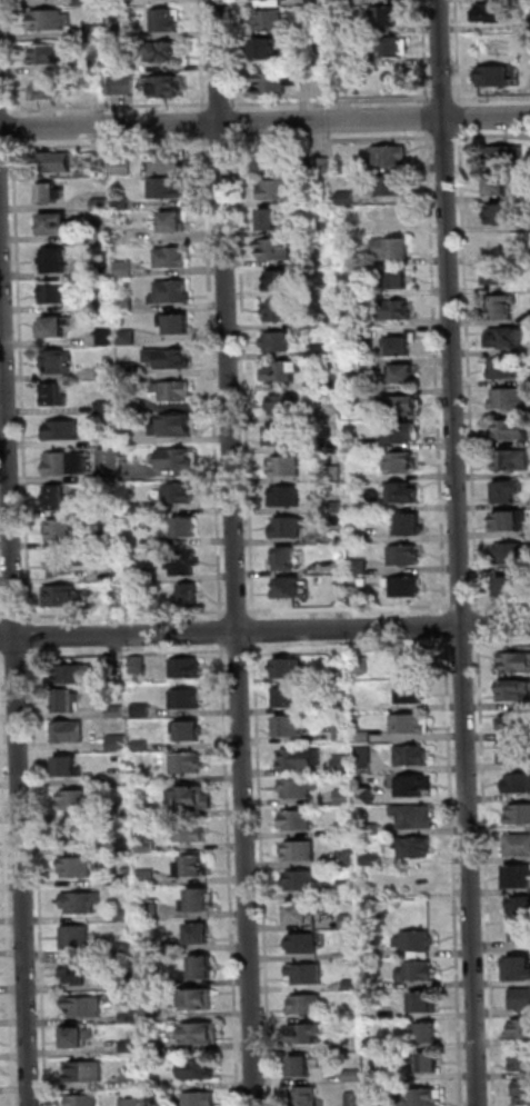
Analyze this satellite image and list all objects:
building: (319, 2)
building: (271, 3)
building: (494, 16)
building: (389, 18)
building: (49, 19)
building: (162, 19)
building: (272, 20)
building: (320, 28)
building: (349, 28)
building: (389, 47)
building: (159, 50)
building: (268, 50)
building: (47, 52)
road: (427, 52)
road: (460, 52)
road: (236, 54)
building: (348, 60)
building: (318, 61)
building: (497, 78)
building: (278, 82)
building: (120, 83)
building: (159, 83)
building: (48, 88)
road: (493, 97)
road: (446, 98)
road: (333, 100)
road: (227, 103)
road: (462, 117)
road: (428, 118)
road: (238, 122)
road: (264, 122)
road: (207, 130)
road: (14, 134)
road: (493, 137)
road: (447, 138)
road: (334, 140)
road: (222, 141)
road: (110, 143)
road: (4, 148)
building: (389, 156)
building: (506, 156)
building: (57, 163)
building: (169, 163)
building: (270, 163)
building: (321, 166)
building: (123, 167)
building: (394, 186)
building: (164, 188)
building: (499, 189)
building: (279, 191)
building: (50, 192)
building: (348, 198)
building: (324, 201)
building: (122, 205)
building: (102, 206)
building: (504, 213)
building: (391, 217)
building: (271, 222)
building: (174, 223)
building: (57, 227)
building: (324, 229)
building: (101, 238)
building: (393, 248)
building: (276, 252)
building: (173, 258)
building: (56, 262)
building: (126, 269)
building: (107, 275)
building: (499, 277)
building: (400, 280)
building: (283, 282)
building: (327, 290)
building: (352, 290)
building: (174, 292)
building: (58, 293)
building: (127, 303)
building: (504, 308)
building: (393, 310)
building: (282, 312)
building: (353, 318)
building: (318, 320)
building: (177, 325)
building: (56, 328)
building: (129, 337)
building: (107, 338)
building: (508, 340)
building: (278, 342)
building: (398, 347)
building: (319, 351)
building: (169, 358)
building: (59, 362)
building: (506, 369)
building: (130, 370)
road: (438, 371)
building: (108, 372)
building: (284, 373)
road: (247, 376)
building: (406, 376)
road: (214, 378)
building: (333, 381)
road: (23, 382)
building: (352, 382)
road: (471, 383)
building: (173, 391)
building: (56, 396)
building: (511, 399)
building: (286, 405)
building: (108, 407)
building: (132, 407)
building: (400, 407)
building: (173, 427)
building: (514, 430)
building: (64, 431)
building: (401, 432)
building: (280, 436)
building: (322, 445)
building: (361, 445)
building: (176, 459)
building: (514, 459)
building: (110, 460)
building: (126, 460)
building: (402, 462)
building: (67, 465)
building: (287, 467)
building: (336, 475)
building: (111, 480)
building: (509, 492)
building: (404, 494)
building: (180, 495)
building: (286, 497)
building: (57, 498)
building: (338, 508)
building: (134, 509)
building: (511, 521)
building: (410, 526)
building: (289, 527)
building: (187, 528)
building: (62, 530)
building: (360, 537)
building: (114, 540)
road: (237, 552)
road: (460, 552)
building: (513, 554)
building: (406, 556)
building: (286, 559)
building: (183, 562)
building: (67, 565)
building: (360, 568)
building: (138, 575)
building: (406, 586)
building: (514, 586)
building: (288, 589)
building: (361, 595)
building: (190, 596)
building: (63, 597)
road: (501, 605)
road: (462, 606)
road: (351, 609)
road: (239, 611)
road: (128, 615)
road: (2, 617)
road: (16, 617)
road: (0, 620)
road: (16, 627)
road: (447, 627)
road: (256, 630)
road: (264, 630)
road: (222, 632)
road: (0, 636)
road: (31, 636)
road: (502, 645)
road: (463, 646)
road: (352, 648)
road: (240, 650)
road: (128, 654)
road: (17, 655)
road: (3, 656)
building: (518, 662)
building: (139, 665)
building: (342, 666)
building: (362, 666)
building: (413, 669)
building: (187, 670)
building: (290, 670)
building: (71, 675)
building: (514, 691)
building: (411, 695)
building: (287, 700)
building: (187, 701)
building: (66, 703)
building: (342, 704)
building: (367, 704)
building: (142, 710)
building: (118, 711)
building: (411, 724)
building: (518, 724)
building: (291, 729)
building: (343, 733)
building: (70, 734)
building: (190, 735)
building: (364, 738)
building: (119, 744)
building: (142, 746)
building: (513, 751)
building: (412, 757)
building: (302, 759)
building: (366, 761)
building: (188, 764)
building: (344, 766)
building: (68, 767)
building: (519, 784)
building: (300, 788)
building: (416, 788)
building: (366, 796)
building: (347, 797)
building: (79, 799)
building: (192, 800)
building: (121, 809)
building: (143, 810)
building: (520, 813)
building: (416, 818)
building: (298, 820)
building: (346, 830)
building: (370, 830)
building: (72, 835)
building: (191, 836)
building: (519, 846)
building: (148, 847)
building: (417, 848)
building: (302, 851)
building: (347, 858)
building: (372, 860)
building: (79, 867)
building: (192, 870)
road: (489, 871)
road: (456, 873)
road: (264, 874)
road: (231, 875)
road: (8, 876)
building: (520, 876)
road: (40, 877)
building: (148, 878)
building: (126, 881)
building: (303, 881)
building: (348, 888)
building: (82, 903)
building: (200, 903)
building: (150, 911)
building: (126, 916)
building: (300, 917)
building: (521, 918)
building: (350, 921)
building: (200, 936)
building: (78, 937)
building: (416, 941)
building: (306, 944)
building: (150, 947)
building: (127, 949)
building: (372, 949)
building: (202, 970)
building: (518, 970)
building: (420, 972)
building: (76, 974)
building: (306, 975)
building: (149, 983)
building: (128, 984)
building: (373, 984)
building: (353, 985)
building: (198, 1000)
building: (521, 1000)
building: (423, 1003)
building: (308, 1006)
building: (86, 1007)
building: (149, 1014)
building: (374, 1014)
building: (131, 1017)
building: (522, 1029)
building: (427, 1033)
building: (308, 1034)
building: (202, 1035)
building: (79, 1039)
building: (376, 1044)
building: (132, 1047)
building: (151, 1047)
building: (523, 1063)
building: (430, 1066)
building: (302, 1068)
building: (200, 1070)
building: (87, 1072)
building: (353, 1075)
building: (133, 1083)
building: (523, 1095)
building: (309, 1096)
building: (421, 1098)
building: (202, 1099)
building: (357, 1099)
building: (379, 1099)
building: (82, 1100)
building: (132, 1102)
building: (156, 1102)

